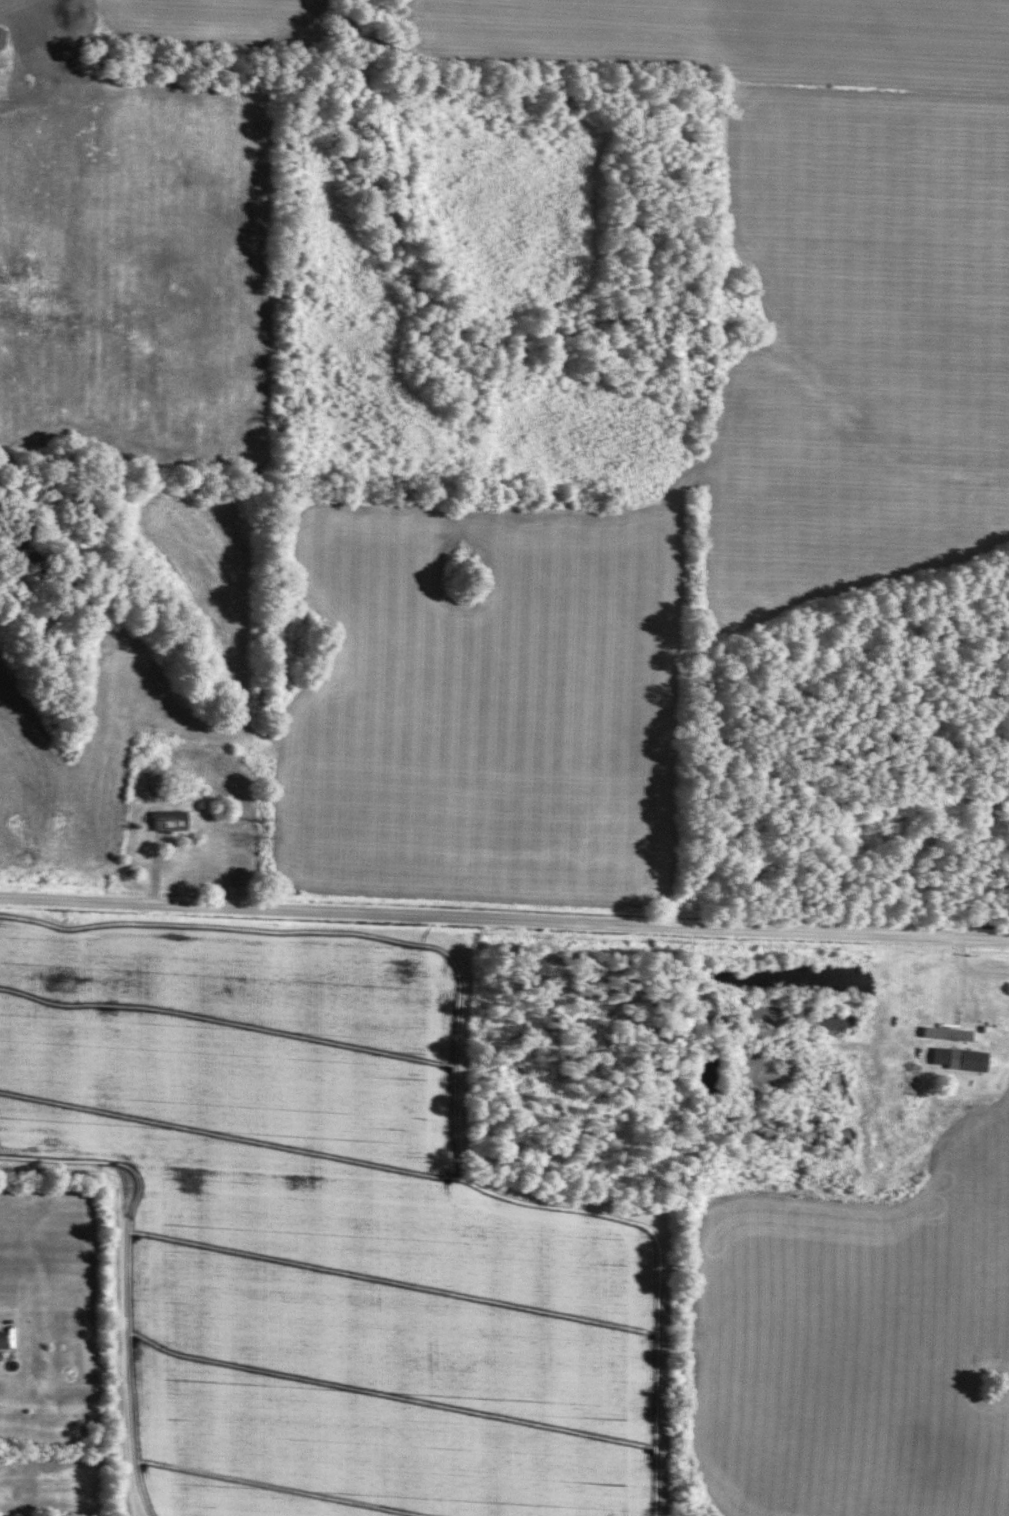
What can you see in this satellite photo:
building: (0, 32)
building: (164, 820)
road: (504, 918)
road: (956, 1015)
building: (955, 1059)
building: (0, 1338)

